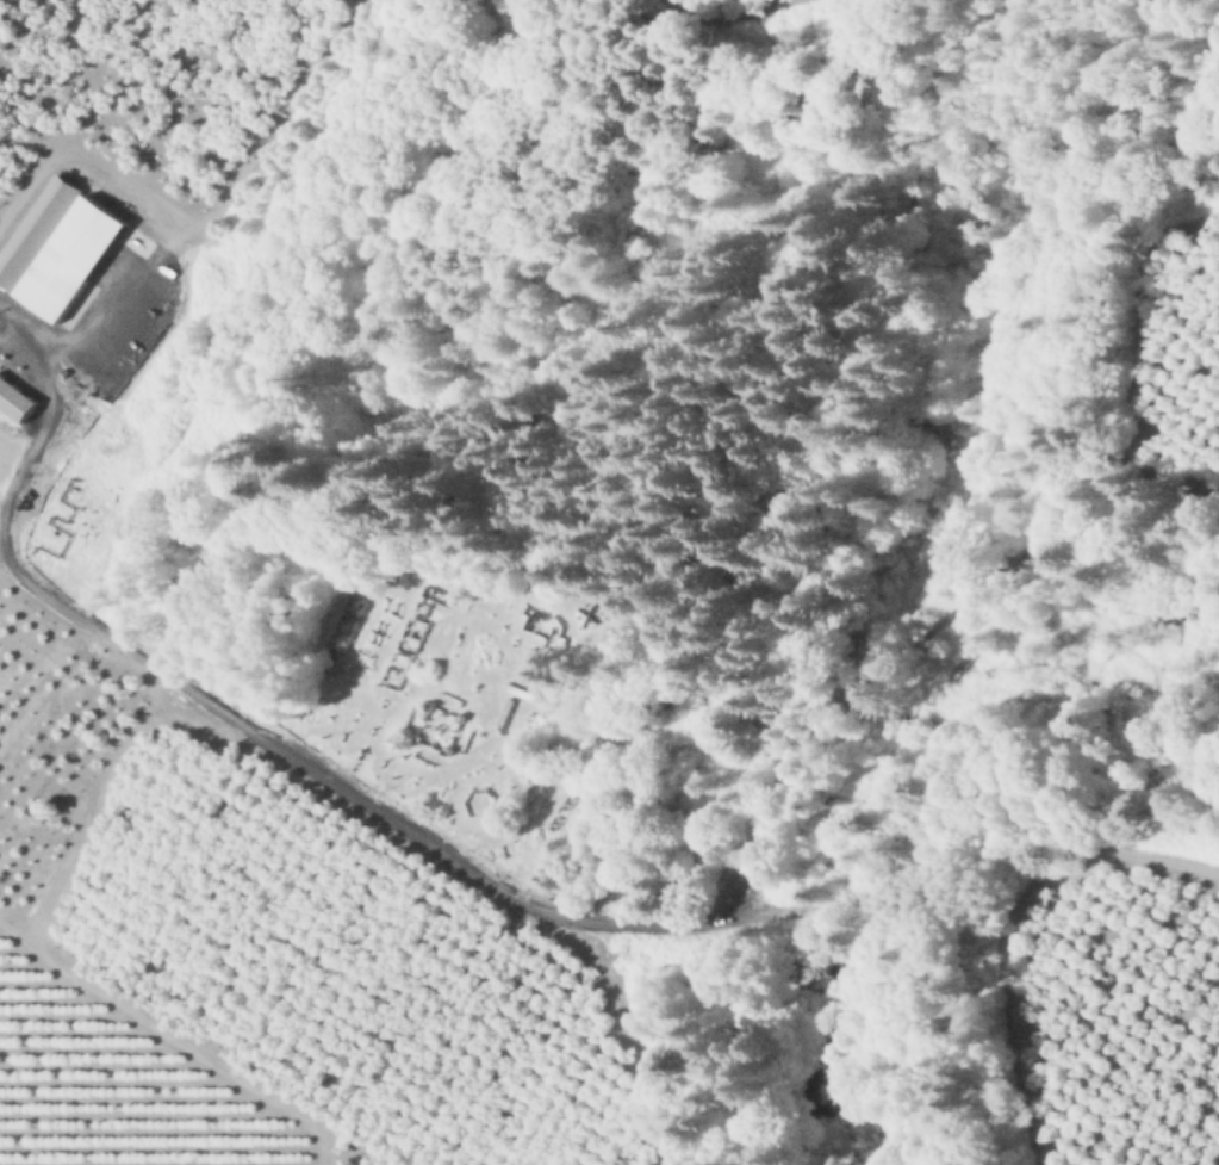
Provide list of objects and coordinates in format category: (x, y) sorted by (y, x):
building: (35, 231)
road: (11, 336)
building: (106, 336)
building: (14, 402)
building: (536, 628)

